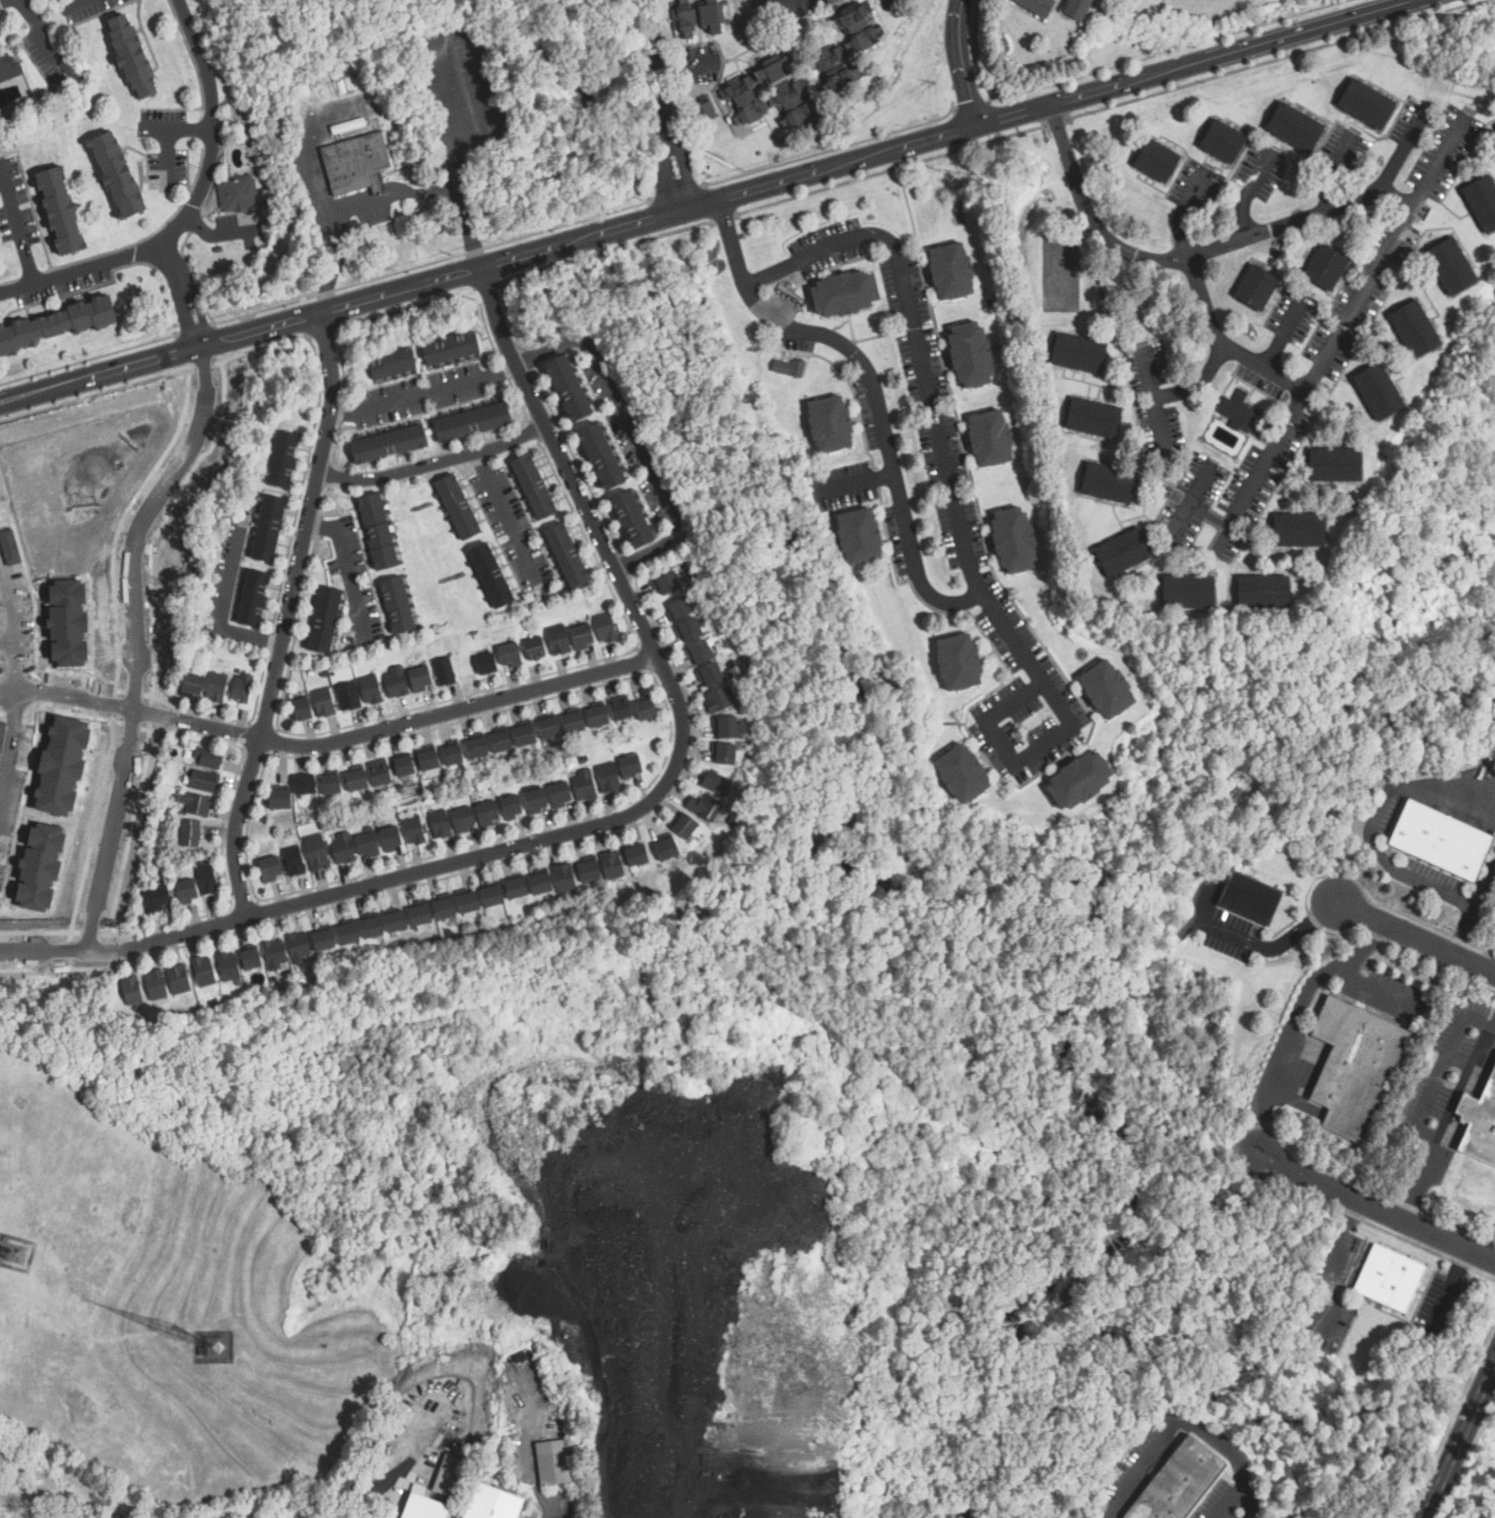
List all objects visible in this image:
road: (4, 2)
road: (74, 2)
building: (892, 2)
building: (1037, 7)
building: (1078, 9)
building: (713, 17)
building: (685, 20)
road: (463, 23)
road: (1313, 29)
building: (847, 50)
building: (130, 58)
road: (960, 64)
building: (6, 66)
building: (765, 96)
road: (667, 106)
building: (1367, 106)
building: (349, 127)
road: (180, 129)
building: (1296, 129)
building: (1224, 143)
road: (168, 146)
building: (1157, 162)
building: (358, 166)
road: (456, 167)
building: (116, 174)
building: (238, 196)
road: (1245, 199)
building: (1483, 202)
road: (195, 209)
building: (62, 210)
road: (347, 211)
road: (1354, 212)
road: (1183, 217)
road: (466, 228)
road: (17, 230)
road: (603, 233)
road: (1166, 262)
building: (1452, 268)
building: (1327, 269)
building: (950, 273)
building: (1258, 289)
building: (845, 296)
building: (56, 321)
building: (1416, 330)
road: (1282, 336)
building: (453, 349)
building: (1079, 355)
building: (970, 356)
building: (395, 367)
building: (789, 369)
road: (1322, 372)
building: (571, 390)
road: (1176, 390)
road: (874, 393)
building: (1379, 393)
road: (425, 395)
building: (1239, 411)
road: (1158, 418)
building: (1094, 419)
building: (474, 423)
building: (829, 425)
road: (633, 429)
building: (989, 439)
building: (390, 445)
road: (941, 448)
building: (605, 457)
building: (281, 462)
road: (436, 463)
building: (1336, 466)
building: (1109, 485)
building: (536, 488)
building: (460, 508)
road: (505, 513)
building: (636, 521)
building: (378, 530)
building: (268, 531)
building: (1300, 532)
building: (861, 538)
building: (1011, 540)
building: (1124, 554)
building: (569, 556)
road: (341, 569)
building: (493, 577)
building: (669, 585)
road: (131, 586)
building: (1189, 593)
building: (1264, 594)
building: (253, 596)
building: (393, 601)
building: (682, 610)
road: (222, 614)
building: (321, 617)
road: (292, 618)
building: (606, 627)
building: (692, 631)
building: (581, 635)
building: (559, 640)
building: (535, 649)
building: (703, 653)
building: (510, 654)
building: (485, 663)
building: (956, 663)
building: (443, 670)
building: (714, 676)
building: (418, 677)
building: (395, 680)
building: (192, 685)
building: (368, 687)
building: (1109, 687)
road: (28, 688)
road: (67, 688)
building: (216, 688)
building: (241, 690)
building: (346, 694)
building: (321, 699)
building: (723, 700)
building: (298, 706)
building: (645, 708)
building: (620, 710)
building: (598, 717)
road: (989, 717)
building: (574, 723)
road: (401, 726)
building: (727, 728)
building: (551, 730)
building: (2, 734)
building: (526, 737)
building: (502, 743)
building: (477, 748)
building: (453, 755)
building: (727, 755)
building: (209, 759)
building: (429, 760)
building: (403, 764)
building: (61, 765)
building: (630, 765)
building: (379, 772)
building: (967, 773)
building: (607, 776)
building: (354, 777)
building: (1079, 780)
building: (202, 781)
building: (301, 782)
building: (327, 782)
building: (716, 784)
building: (584, 785)
building: (559, 792)
building: (276, 797)
building: (536, 799)
building: (197, 802)
building: (511, 805)
building: (707, 809)
building: (488, 812)
building: (463, 817)
road: (615, 817)
building: (440, 822)
road: (1375, 825)
building: (684, 827)
building: (413, 829)
building: (191, 833)
building: (389, 837)
building: (365, 842)
building: (1441, 842)
building: (341, 847)
building: (313, 850)
building: (667, 850)
building: (637, 856)
building: (291, 859)
building: (613, 866)
building: (39, 867)
building: (267, 867)
building: (590, 872)
building: (206, 879)
building: (566, 879)
road: (1484, 883)
building: (541, 884)
building: (517, 889)
building: (184, 891)
building: (493, 897)
building: (156, 899)
building: (1250, 899)
building: (469, 903)
building: (445, 909)
building: (420, 916)
building: (396, 922)
building: (372, 929)
road: (1463, 931)
building: (348, 934)
road: (1416, 938)
building: (325, 941)
building: (300, 947)
road: (1255, 947)
building: (273, 954)
building: (250, 959)
building: (227, 965)
building: (203, 971)
building: (178, 979)
building: (156, 984)
building: (131, 990)
road: (1306, 991)
building: (1355, 1066)
road: (1462, 1079)
road: (1420, 1106)
building: (1480, 1124)
road: (1375, 1208)
building: (1389, 1279)
building: (1325, 1294)
road: (1172, 1429)
road: (1459, 1439)
building: (554, 1463)
building: (41, 1476)
building: (451, 1478)
building: (1179, 1483)
road: (1229, 1498)
road: (1247, 1498)
building: (494, 1504)
building: (425, 1509)
road: (552, 1509)
building: (301, 1513)

